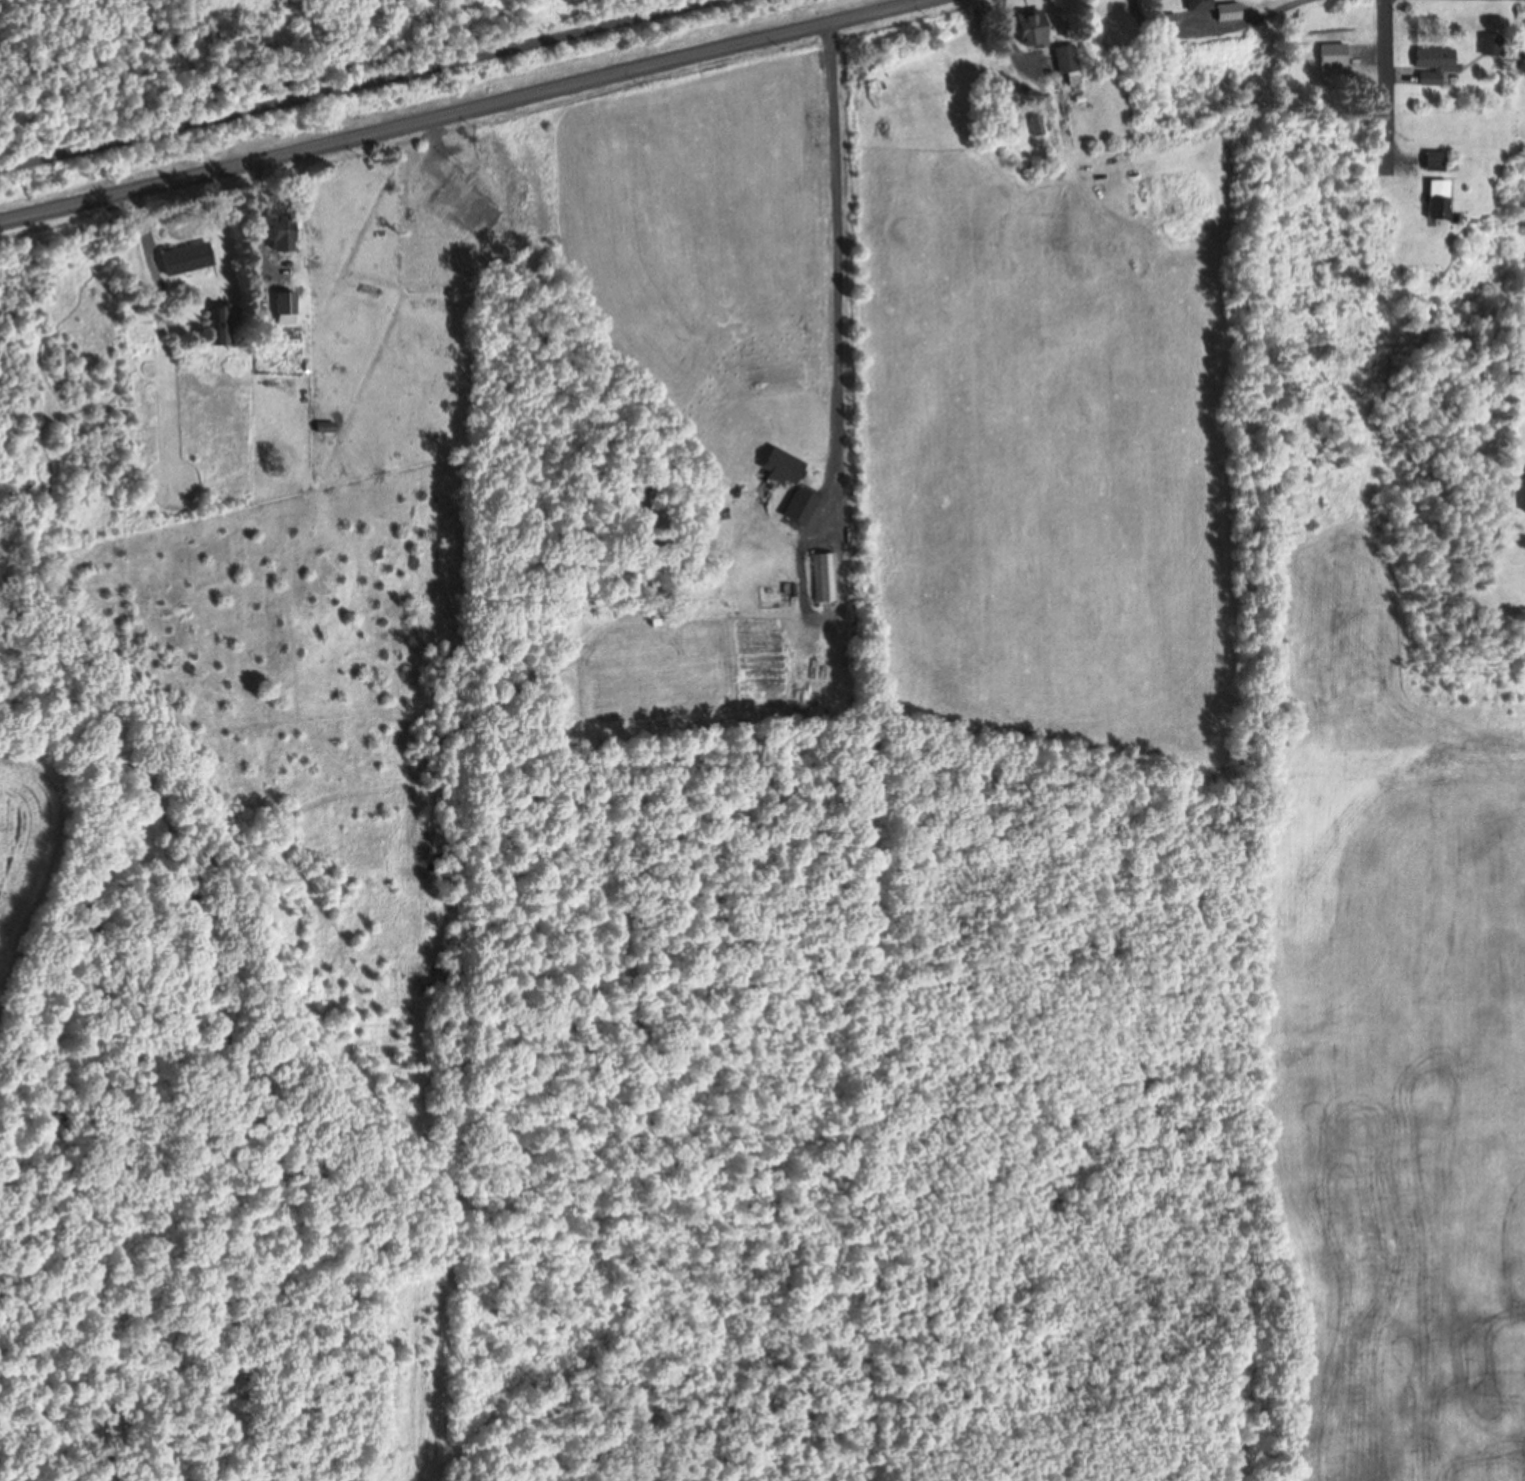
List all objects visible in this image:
road: (892, 10)
building: (1201, 10)
building: (1229, 15)
building: (1032, 29)
road: (1219, 37)
building: (1524, 54)
building: (1334, 58)
building: (1067, 62)
building: (1436, 67)
road: (349, 83)
road: (1387, 87)
road: (423, 121)
building: (1037, 128)
building: (1437, 163)
building: (1441, 203)
building: (282, 236)
building: (187, 262)
building: (286, 306)
building: (221, 328)
building: (324, 431)
building: (1524, 490)
crop: (1103, 654)

